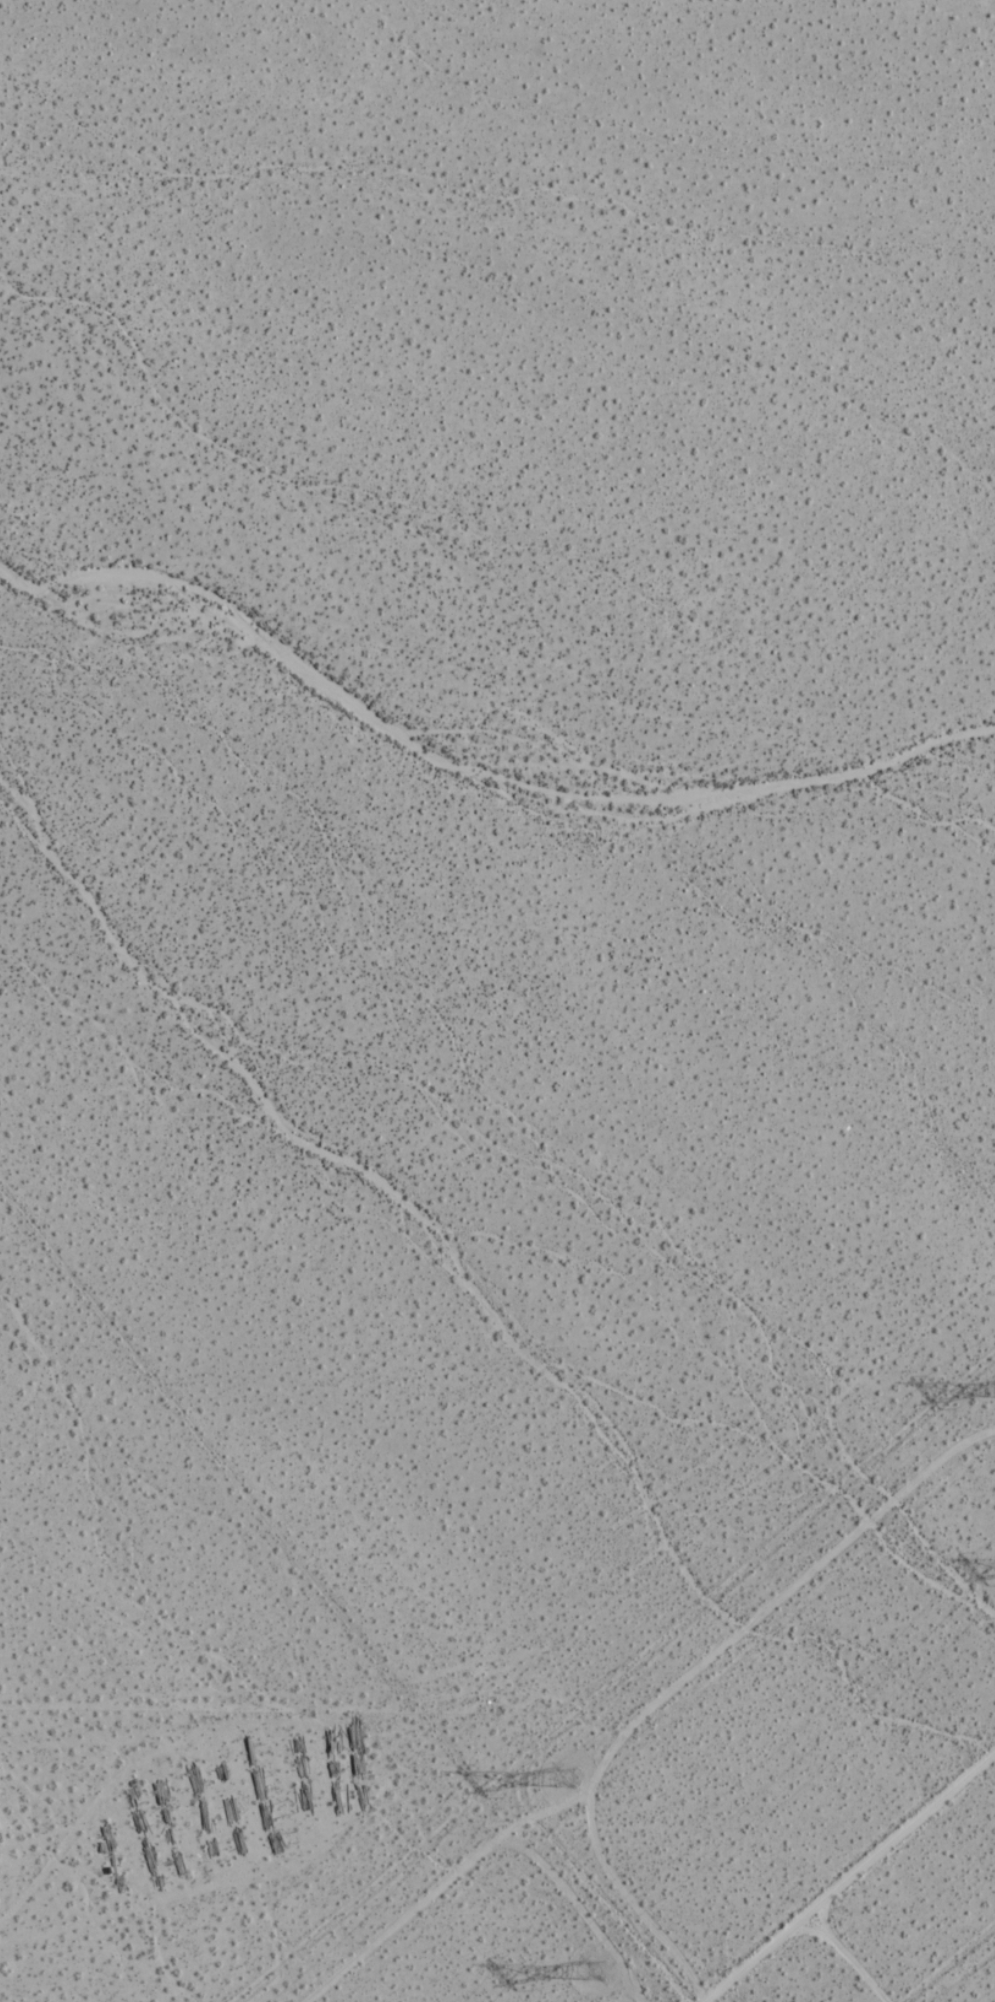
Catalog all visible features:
power tower: (570, 1776)
road: (853, 1880)
power tower: (603, 1965)

